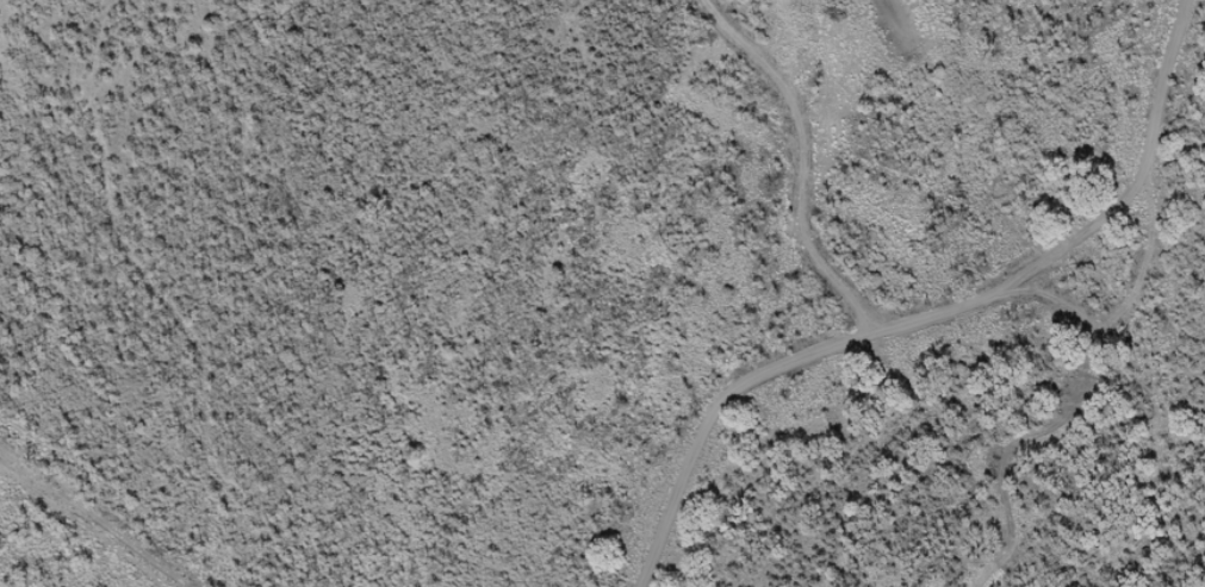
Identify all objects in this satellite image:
road: (882, 273)

